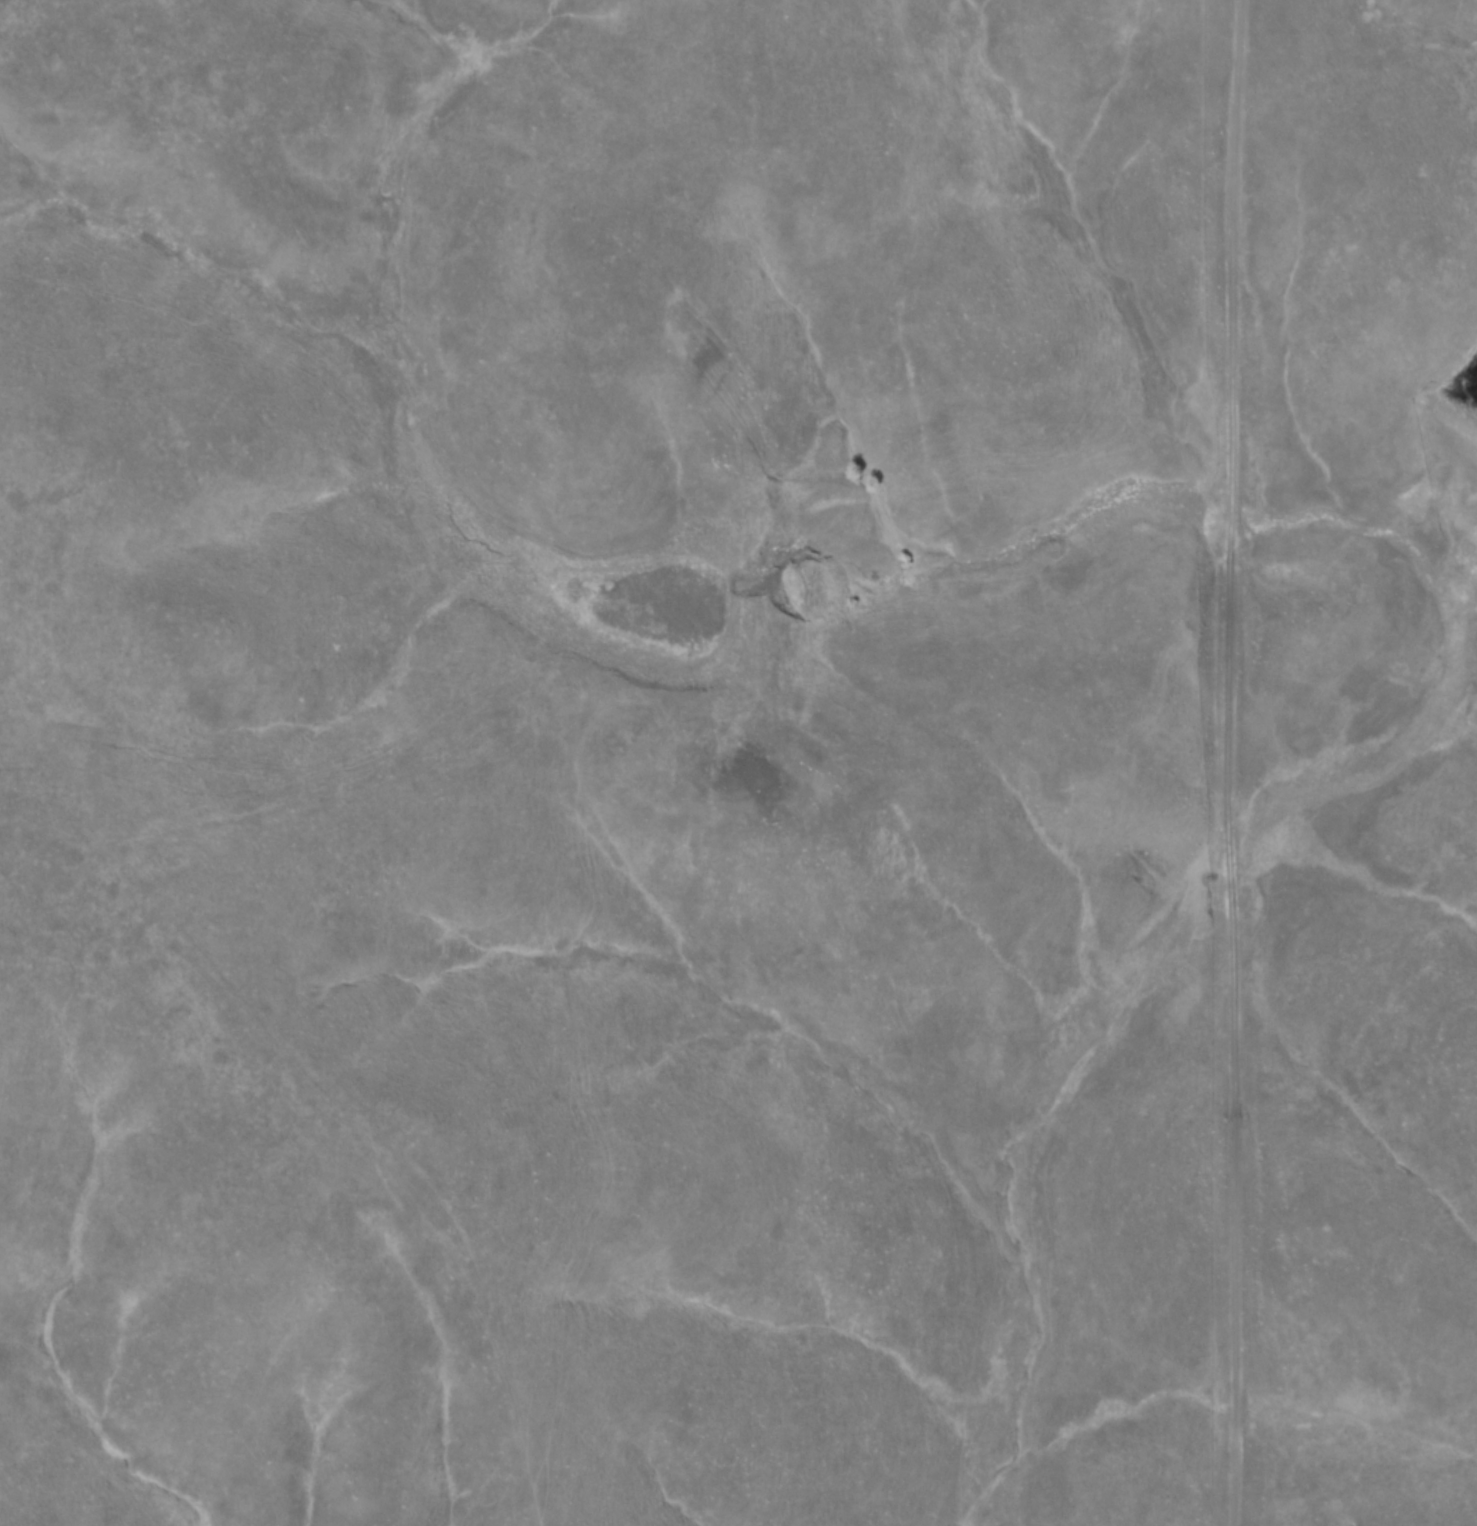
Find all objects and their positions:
road: (1225, 763)
road: (309, 1068)

